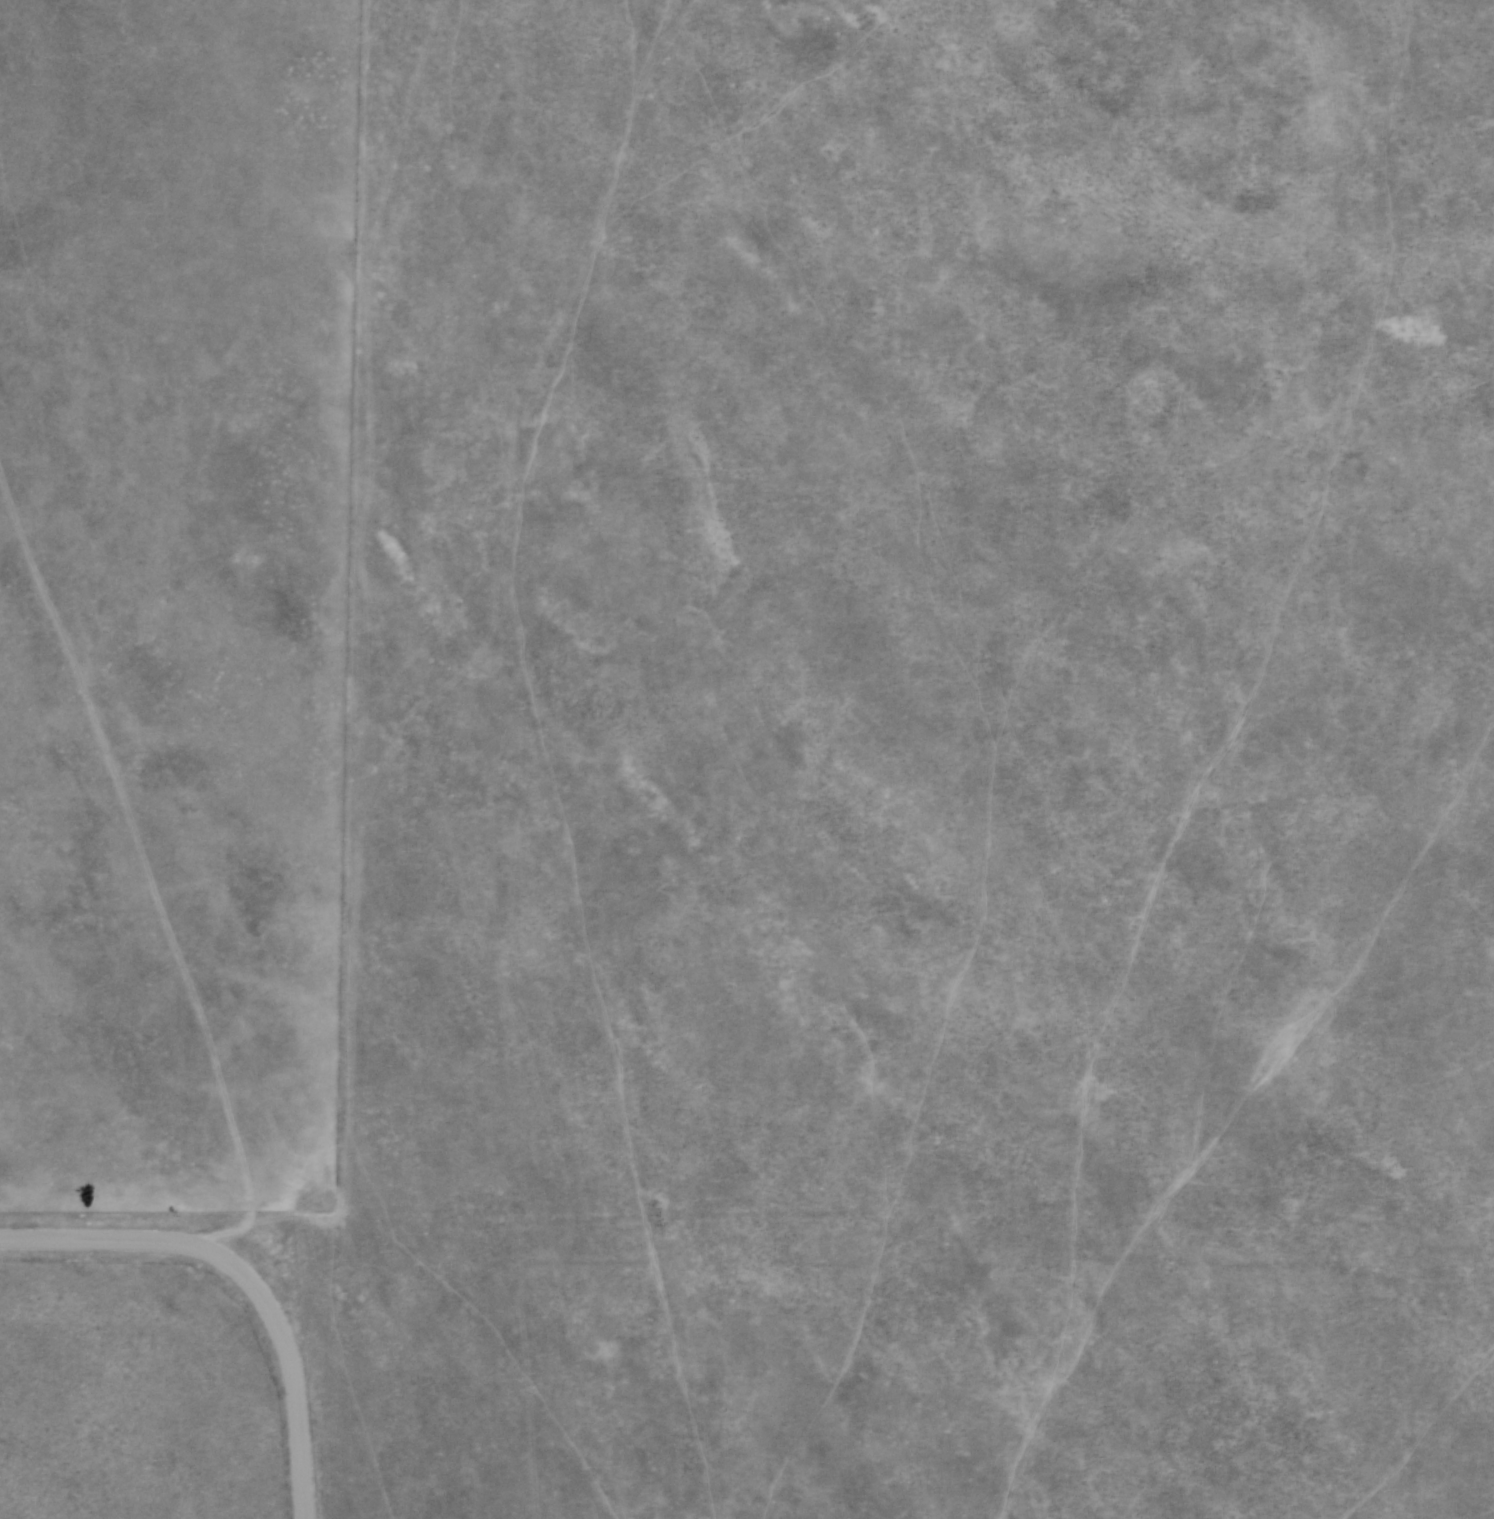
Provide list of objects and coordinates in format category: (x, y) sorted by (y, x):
road: (244, 1277)

